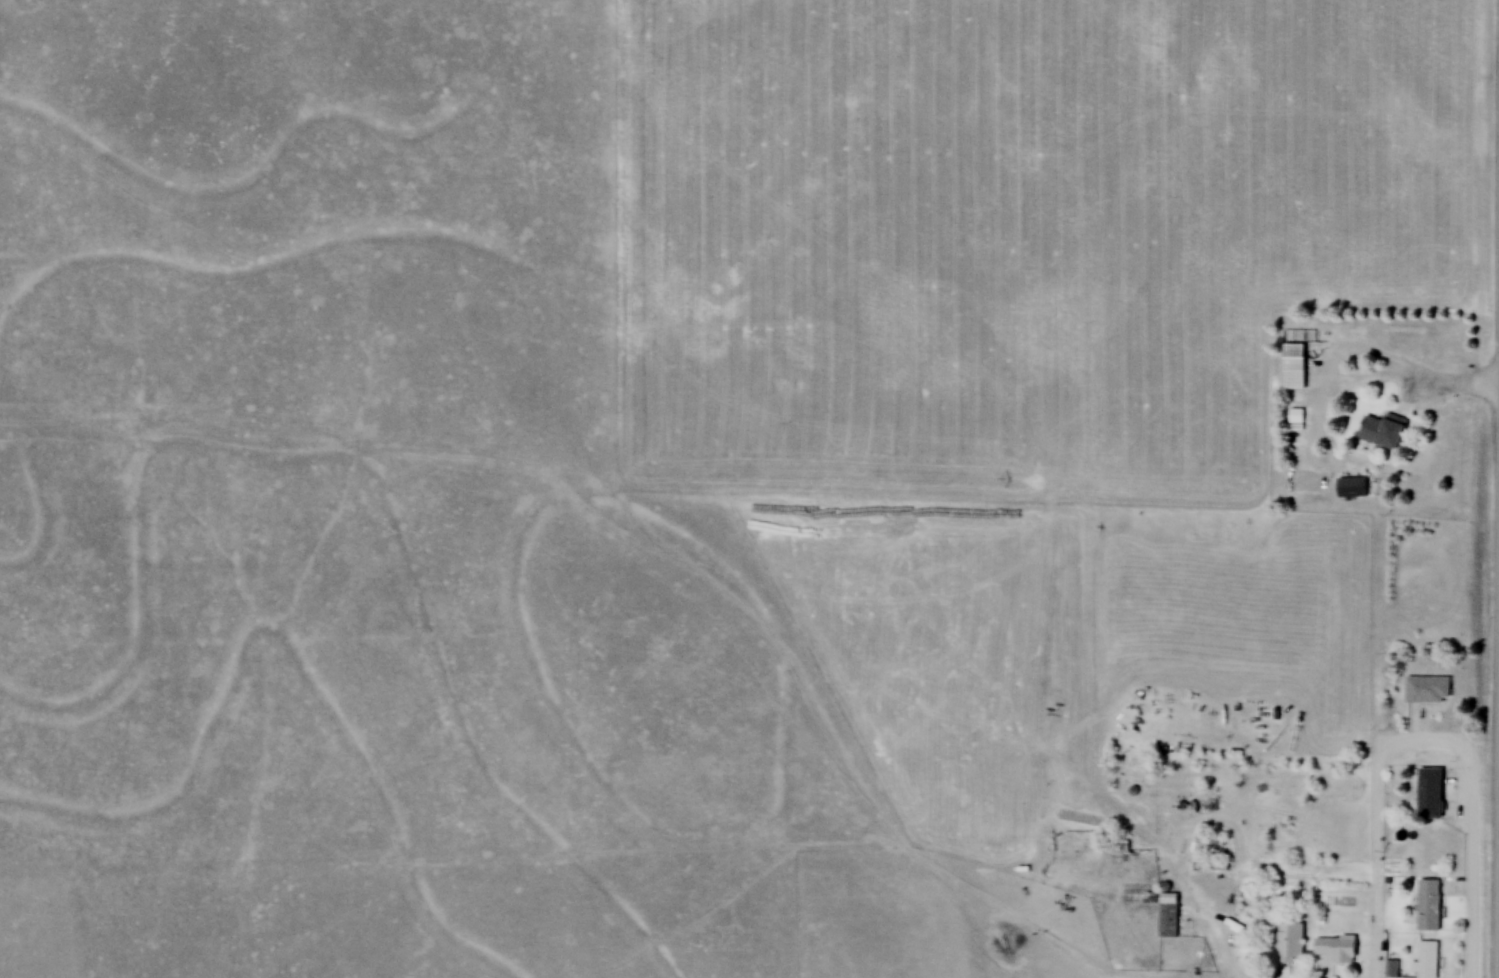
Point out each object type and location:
road: (1325, 353)
building: (1295, 365)
road: (1458, 381)
building: (1296, 415)
building: (1383, 430)
building: (1350, 486)
building: (1428, 689)
building: (1430, 793)
road: (1371, 822)
road: (1498, 832)
building: (1090, 839)
building: (1210, 846)
building: (1209, 864)
road: (1467, 867)
building: (1430, 905)
building: (1165, 912)
road: (1218, 927)
building: (1290, 942)
building: (1336, 949)
building: (1427, 959)
building: (1391, 969)

